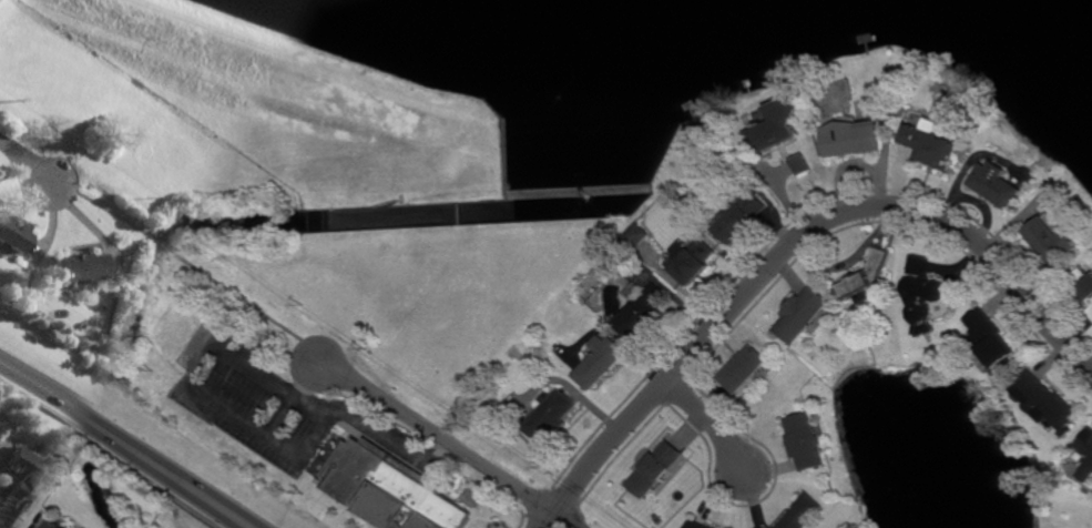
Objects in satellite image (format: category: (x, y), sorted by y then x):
building: (778, 123)
building: (854, 134)
building: (932, 142)
road: (25, 161)
building: (804, 162)
building: (999, 183)
building: (674, 186)
dam: (589, 191)
road: (101, 207)
building: (744, 215)
building: (10, 233)
building: (636, 236)
building: (1053, 240)
road: (162, 244)
road: (792, 244)
building: (696, 261)
building: (76, 266)
building: (869, 276)
building: (1084, 282)
building: (635, 291)
building: (925, 293)
road: (252, 305)
building: (644, 312)
building: (1091, 312)
building: (804, 313)
building: (992, 338)
building: (600, 362)
building: (745, 368)
road: (254, 370)
road: (297, 396)
building: (1045, 400)
building: (551, 415)
road: (712, 420)
building: (806, 441)
road: (130, 443)
building: (1086, 443)
road: (452, 445)
building: (656, 469)
building: (1088, 473)
building: (685, 478)
building: (20, 486)
building: (392, 491)
building: (803, 512)
building: (61, 525)
building: (698, 525)

